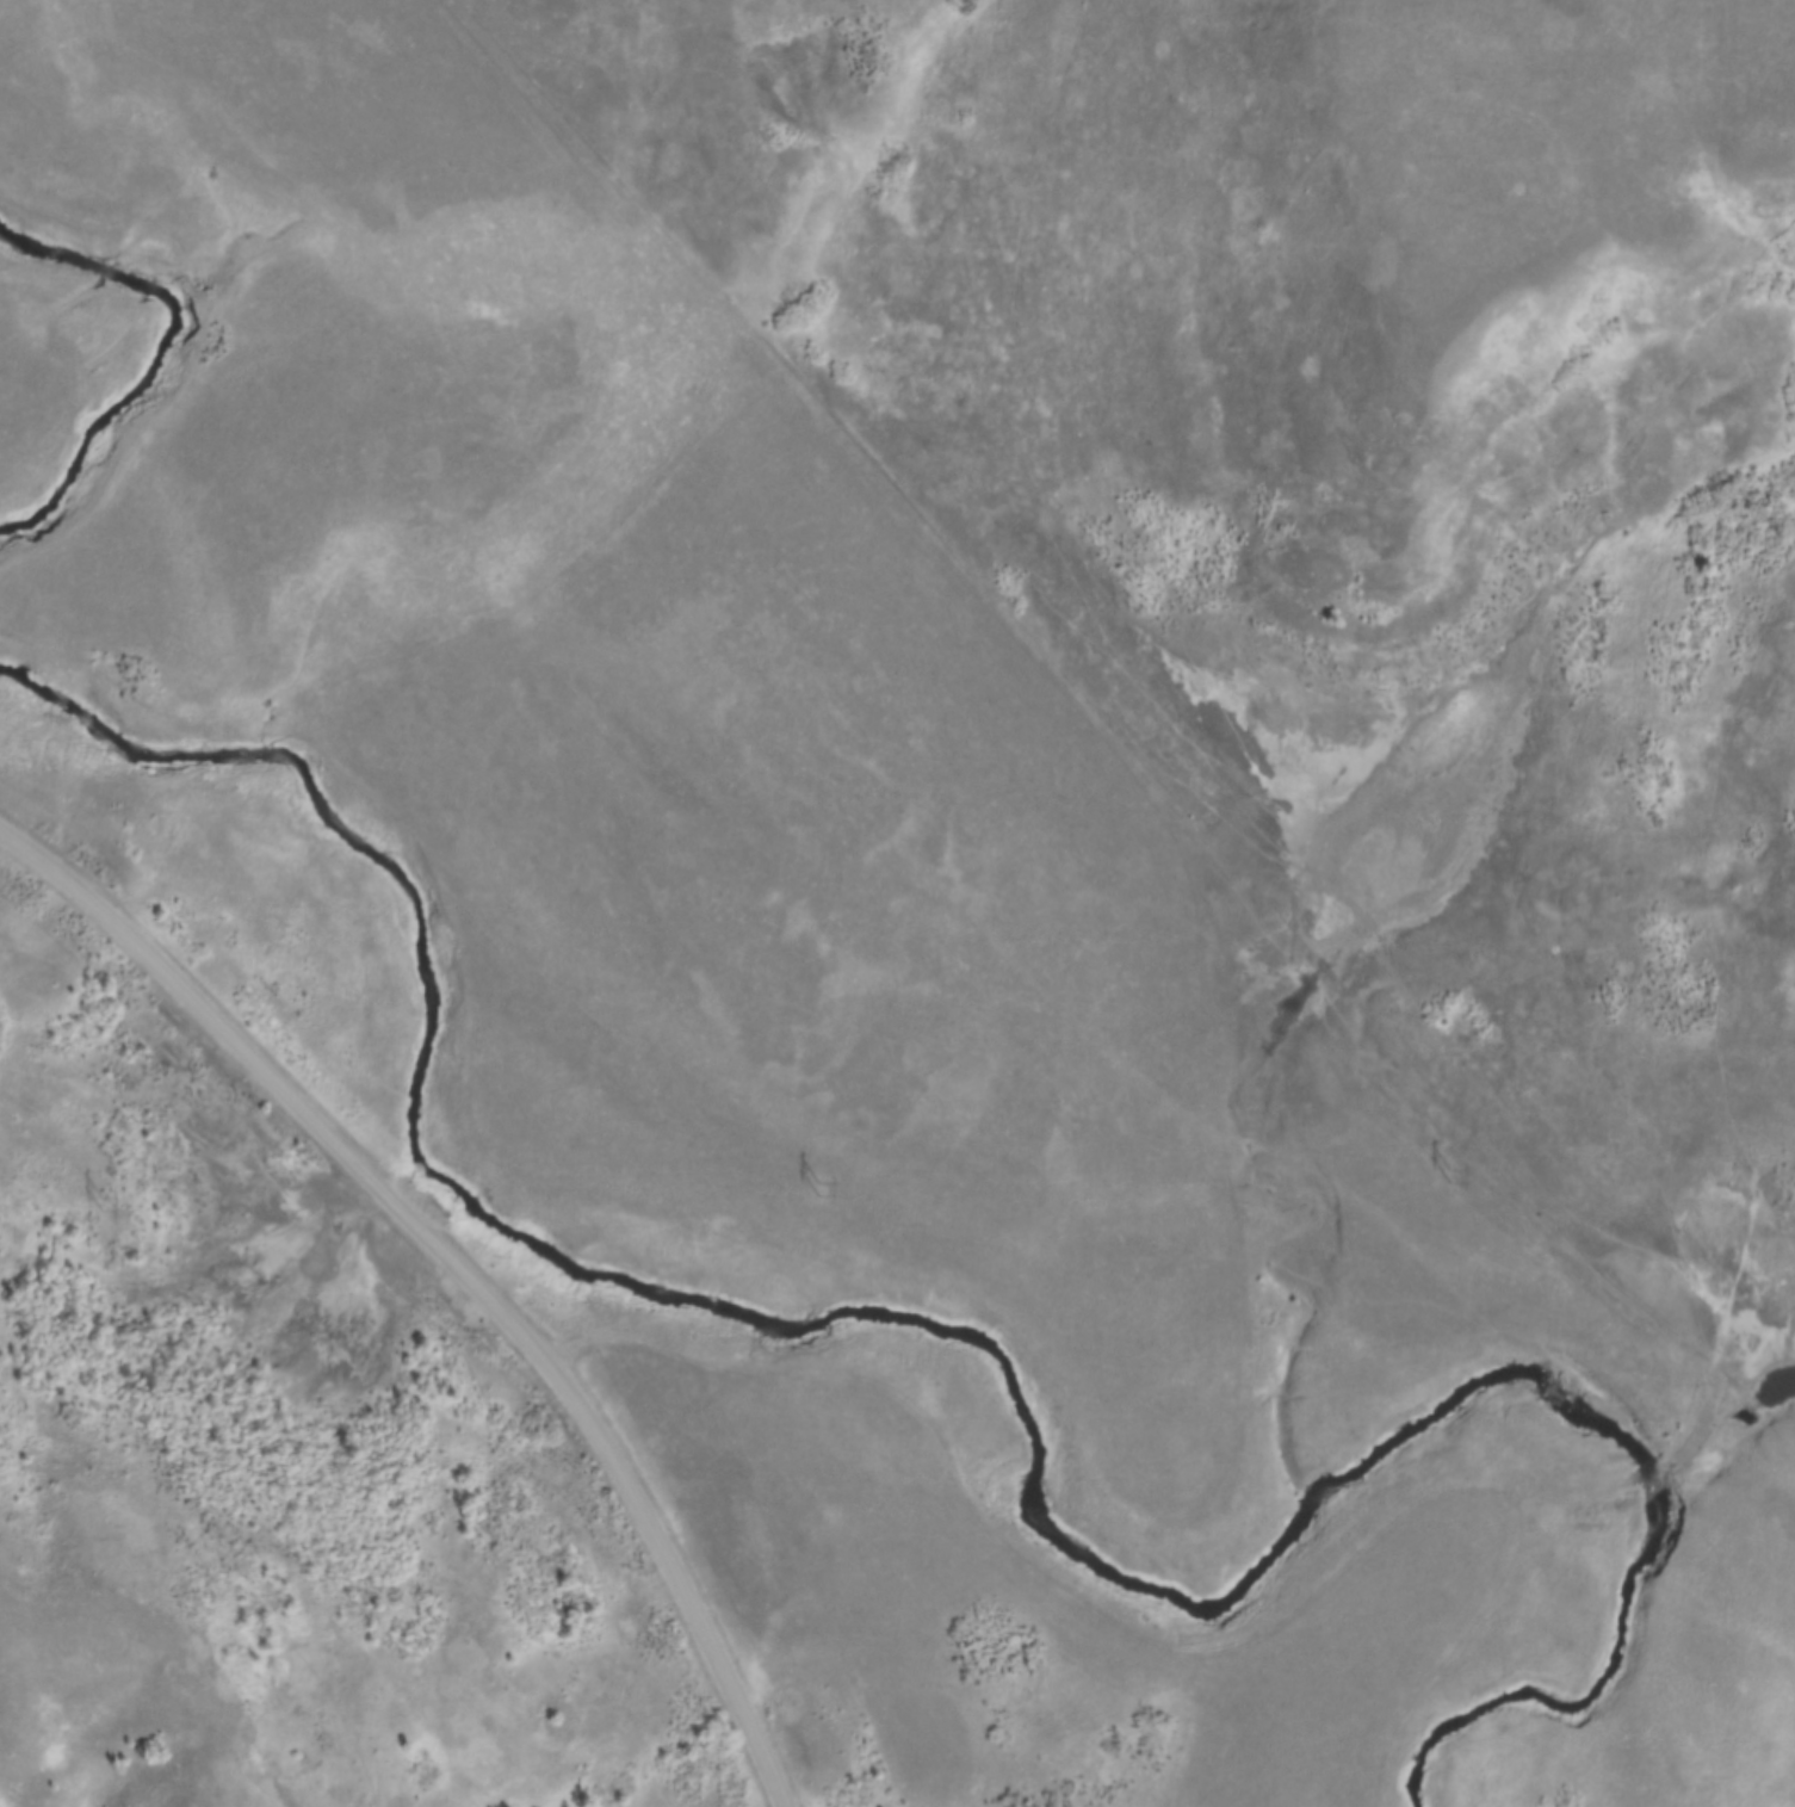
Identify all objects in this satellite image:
road: (457, 1268)
road: (1135, 1636)

